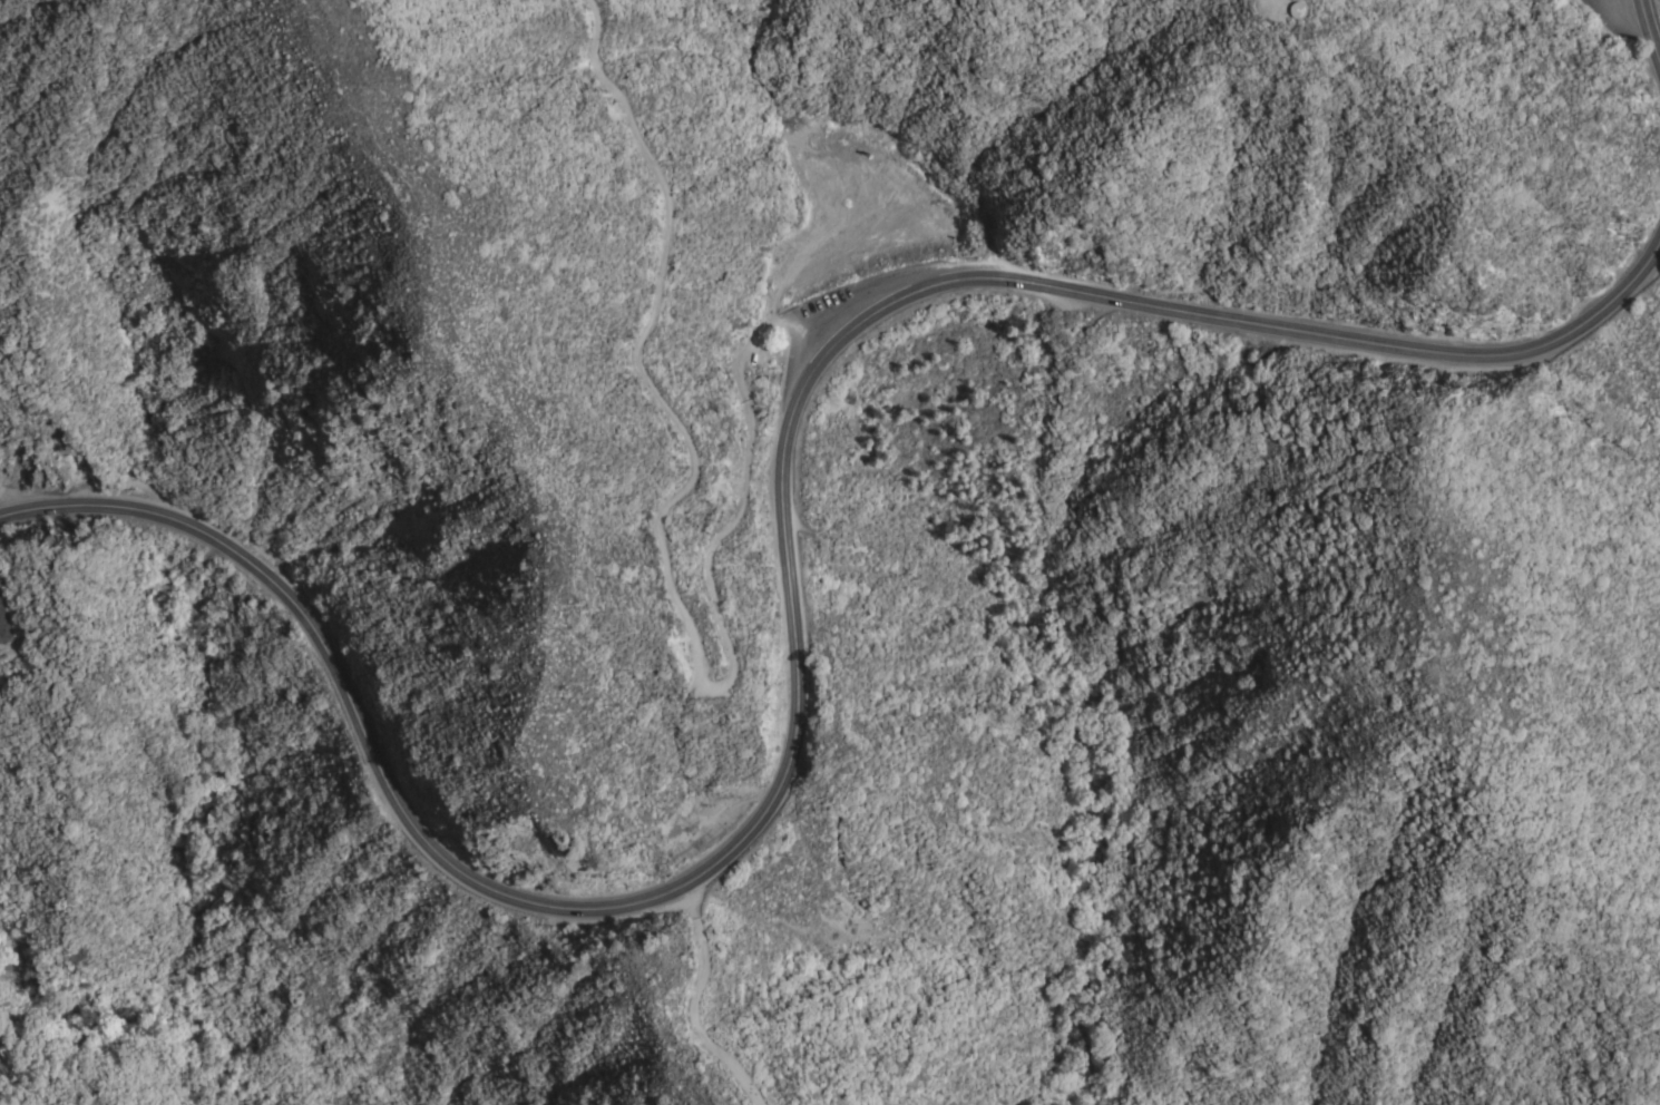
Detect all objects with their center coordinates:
road: (1630, 4)
building: (1297, 10)
storage tank: (1297, 10)
parking lot: (1619, 14)
road: (1650, 27)
parking lot: (841, 297)
road: (660, 556)
road: (797, 622)
road: (692, 1007)

